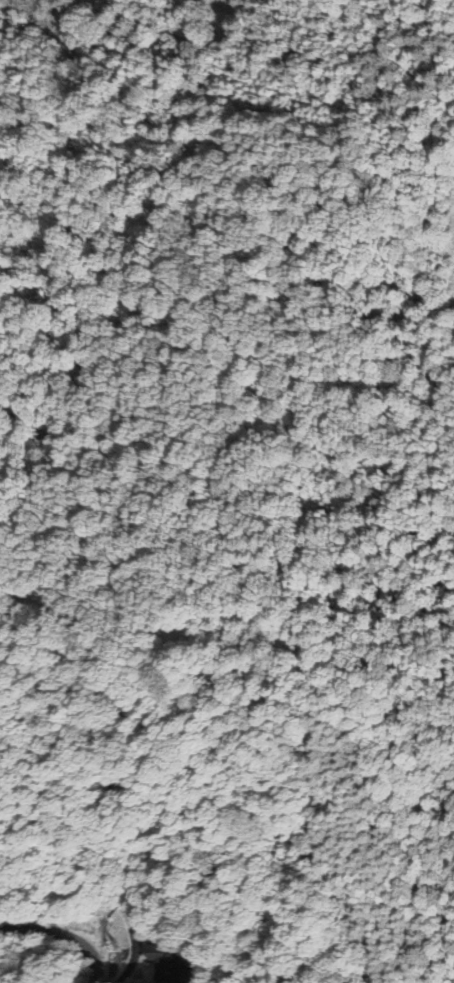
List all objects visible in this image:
road: (64, 935)
building: (156, 958)

